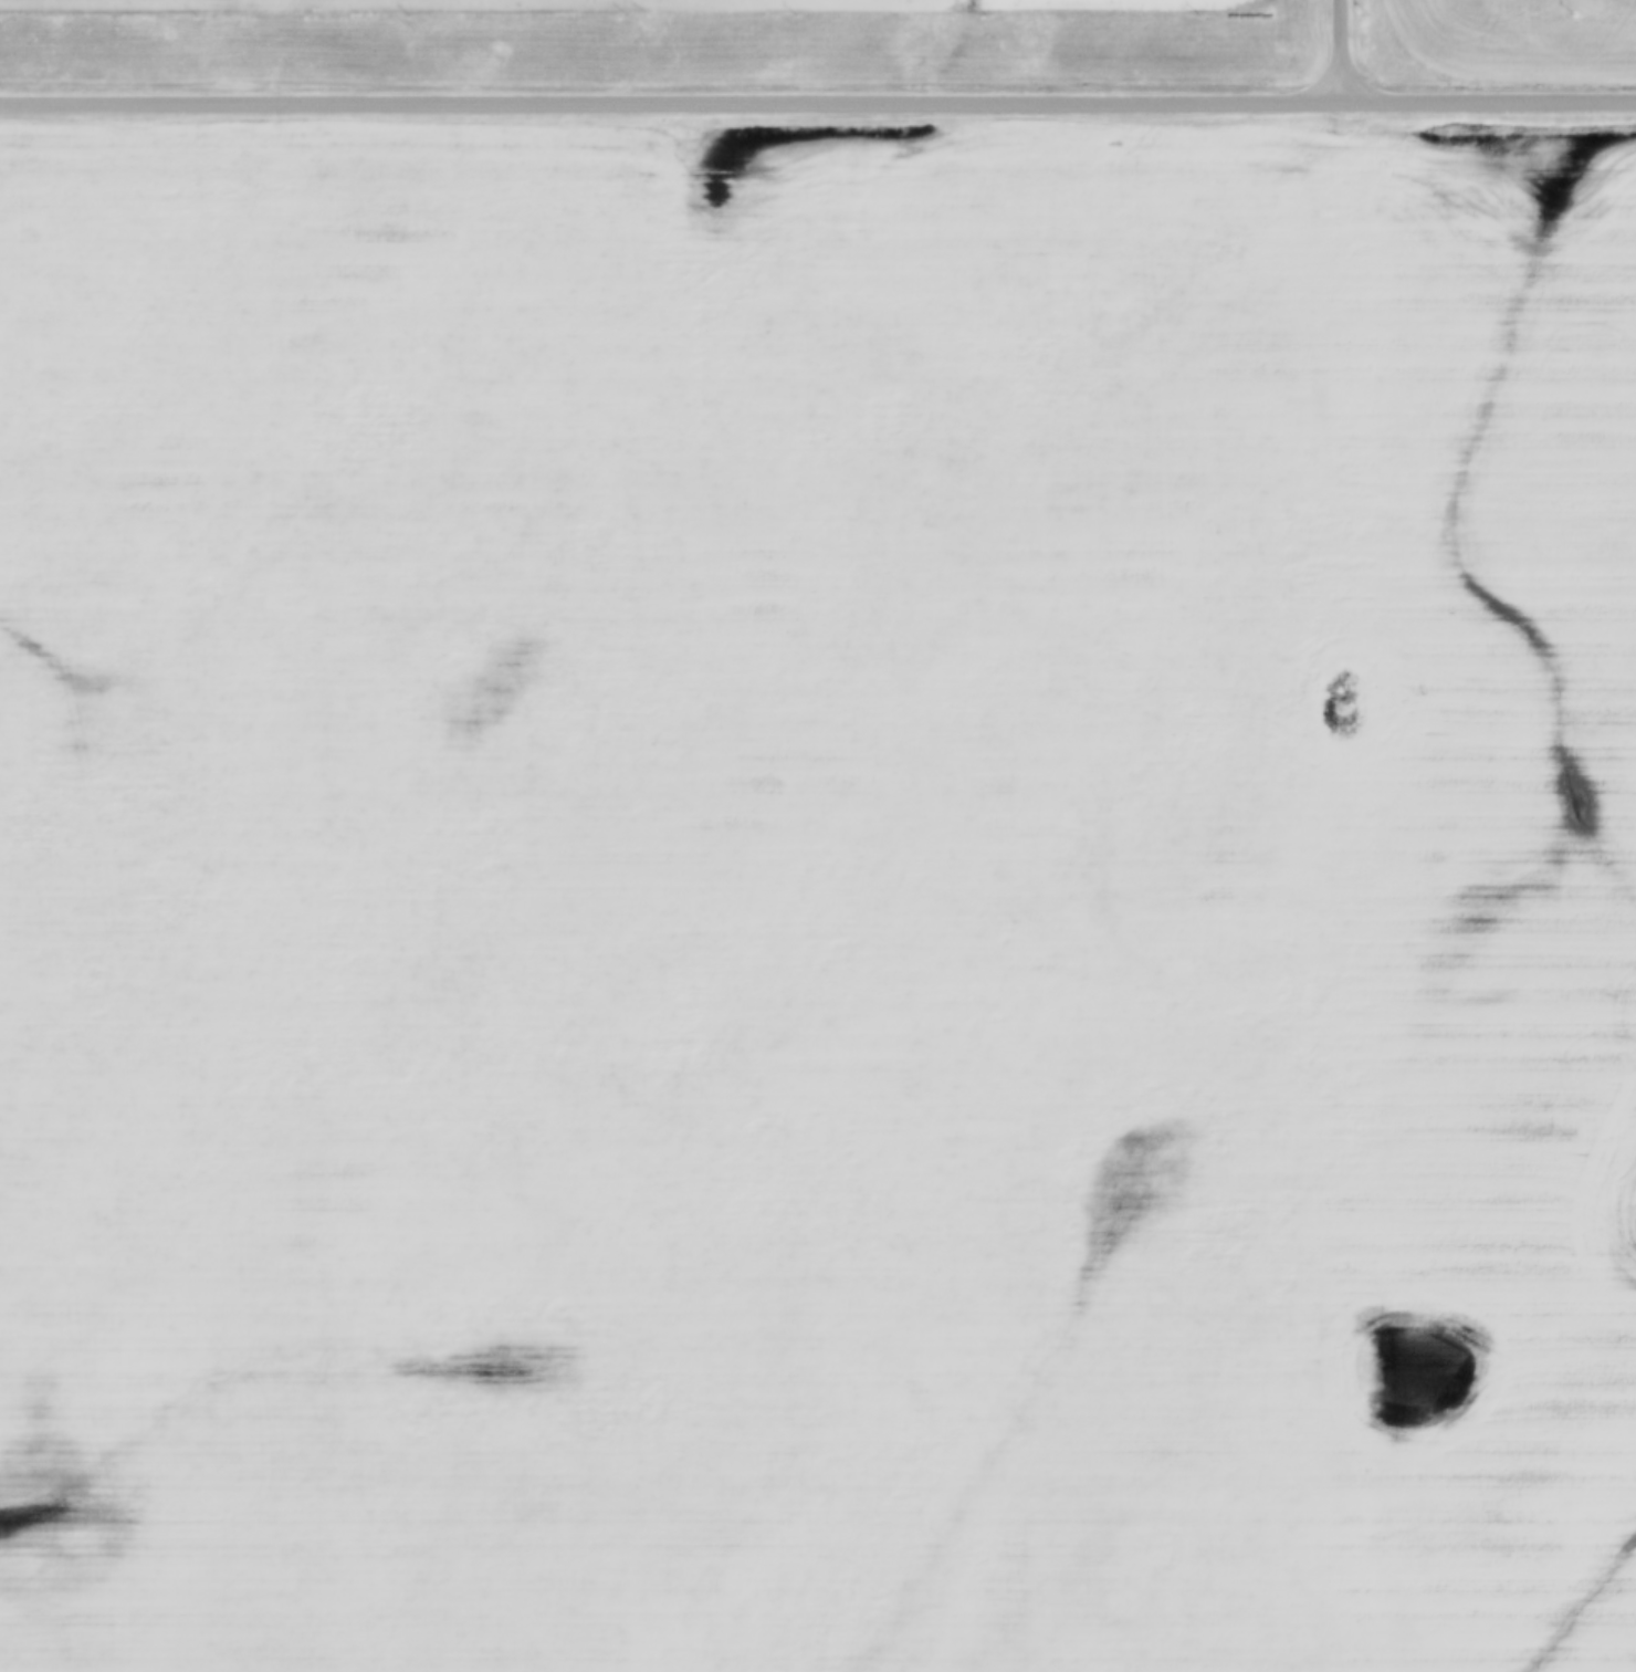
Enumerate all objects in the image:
road: (1342, 51)
road: (818, 101)
building: (1115, 203)

